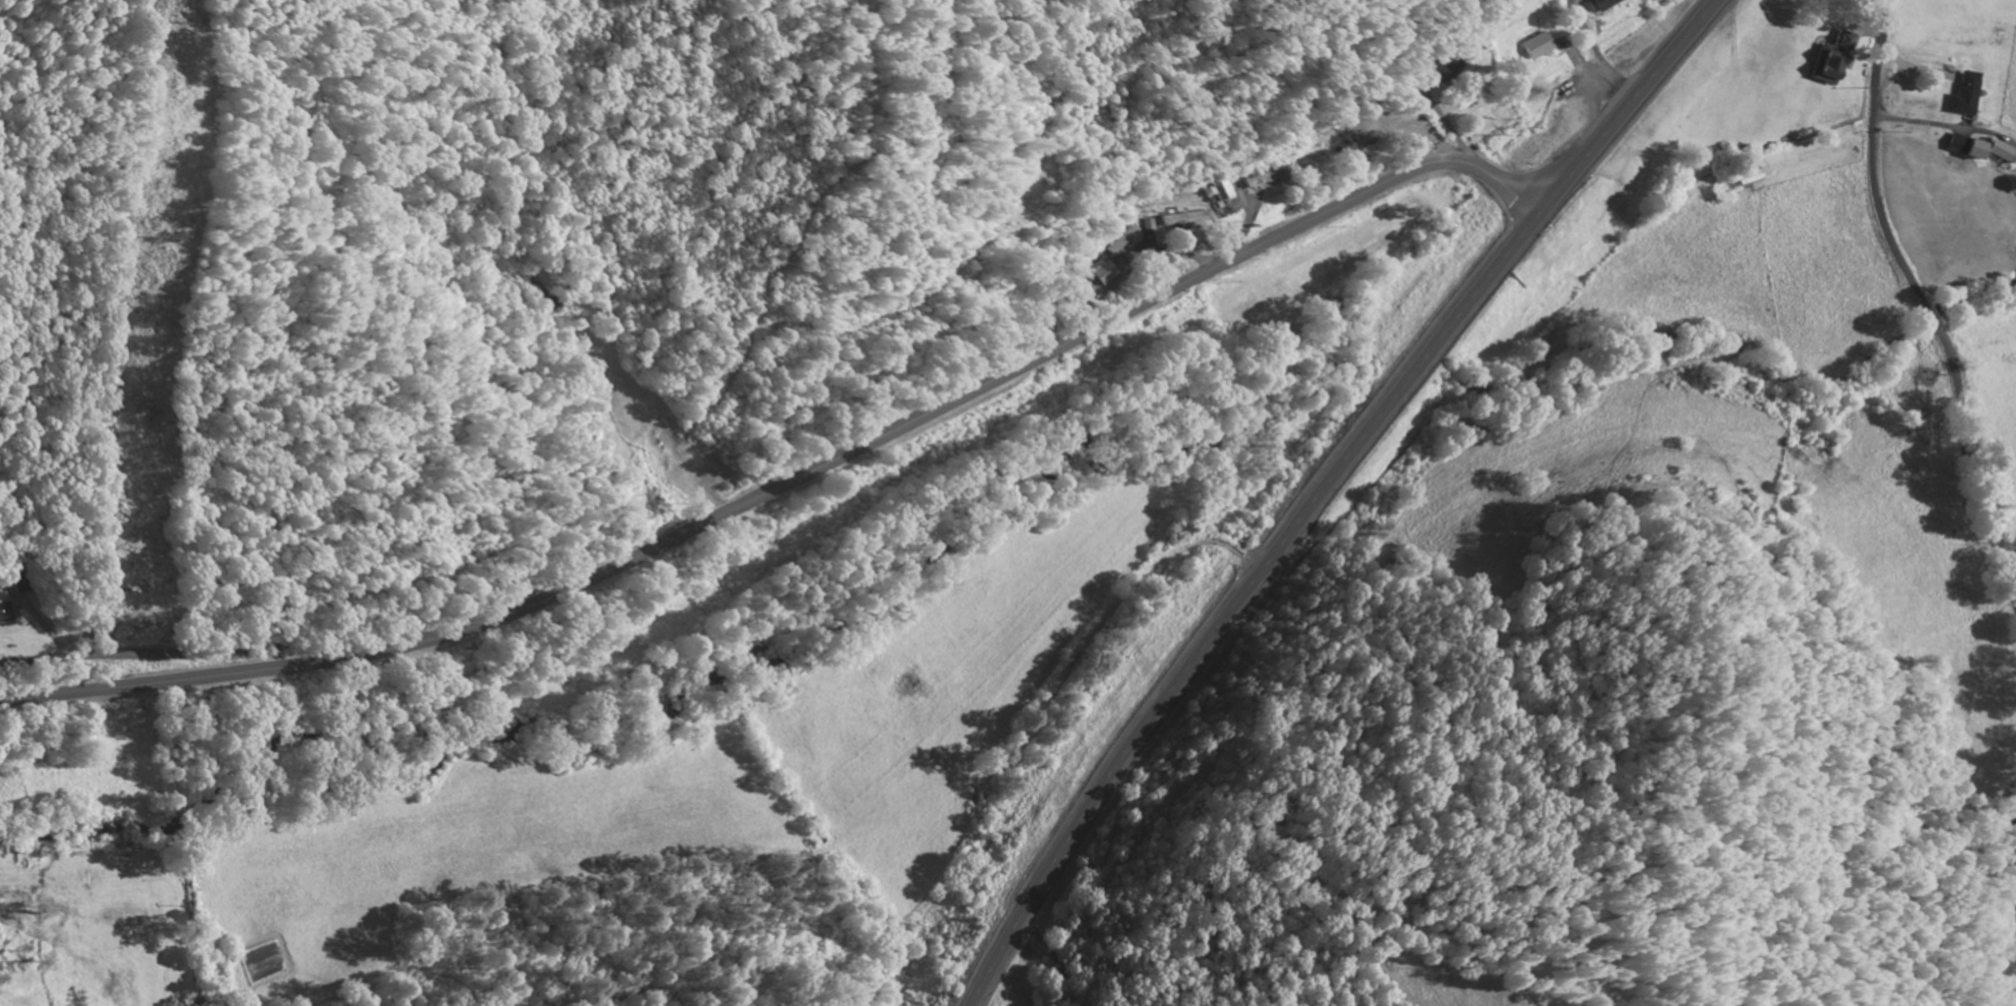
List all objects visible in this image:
building: (1604, 5)
building: (1543, 47)
building: (1833, 60)
building: (1448, 69)
building: (1966, 94)
building: (1375, 119)
building: (1982, 151)
building: (1267, 179)
building: (1753, 179)
building: (1185, 222)
building: (1118, 241)
building: (1099, 273)
road: (1924, 306)
road: (795, 480)
road: (1320, 488)
building: (5, 607)
building: (104, 636)
road: (189, 655)
road: (1989, 905)

